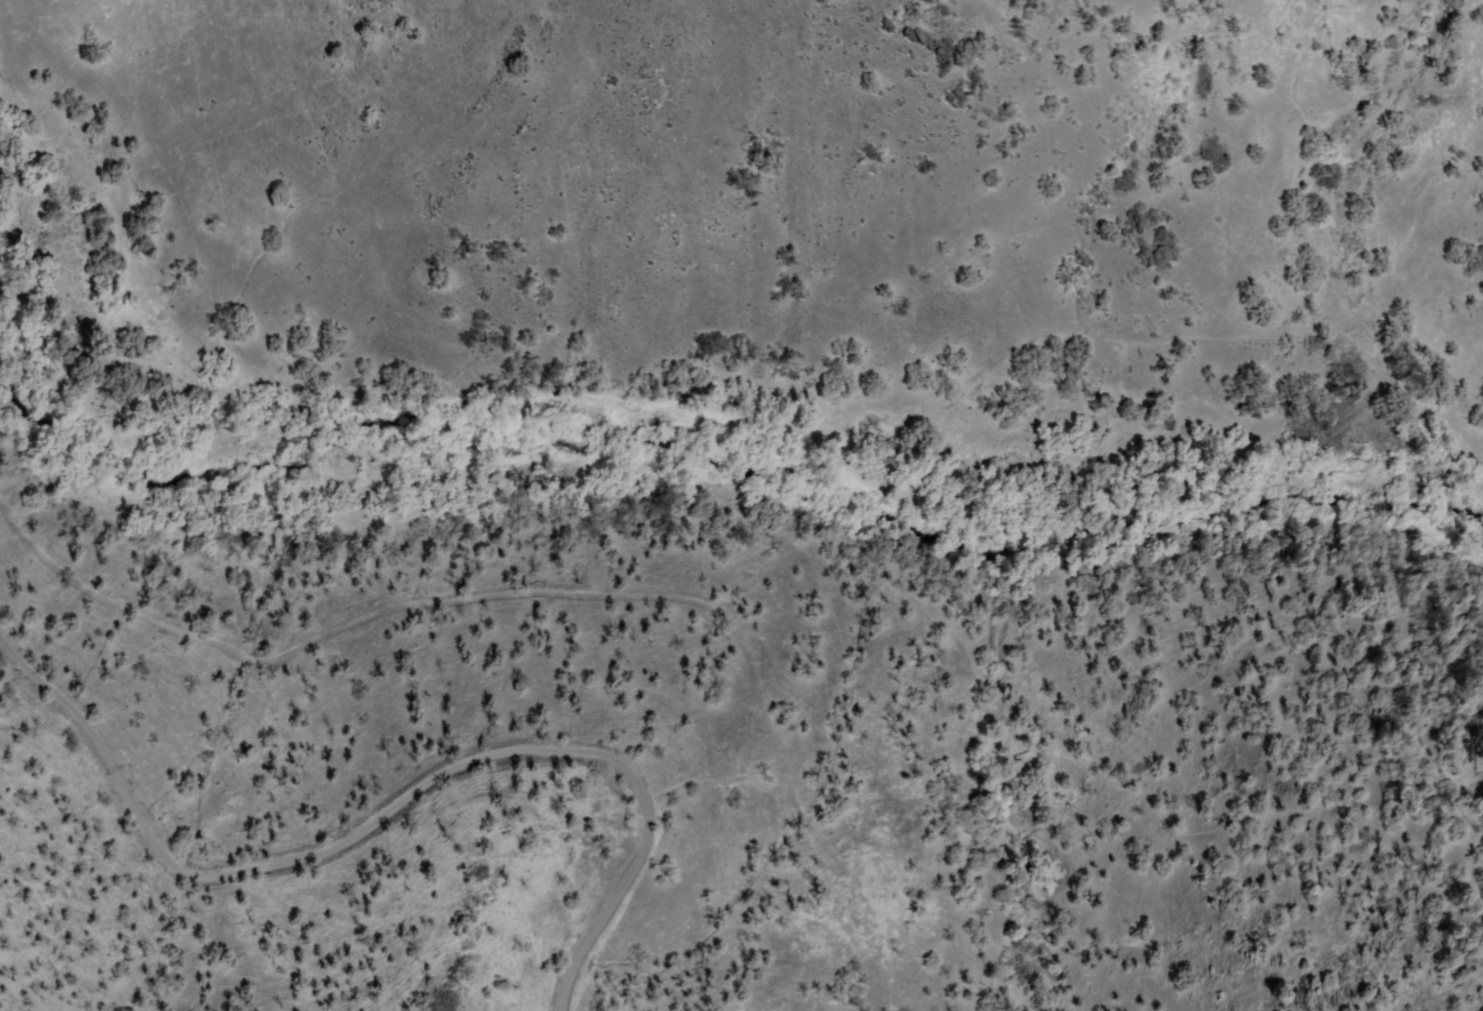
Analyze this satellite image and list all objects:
road: (384, 801)

